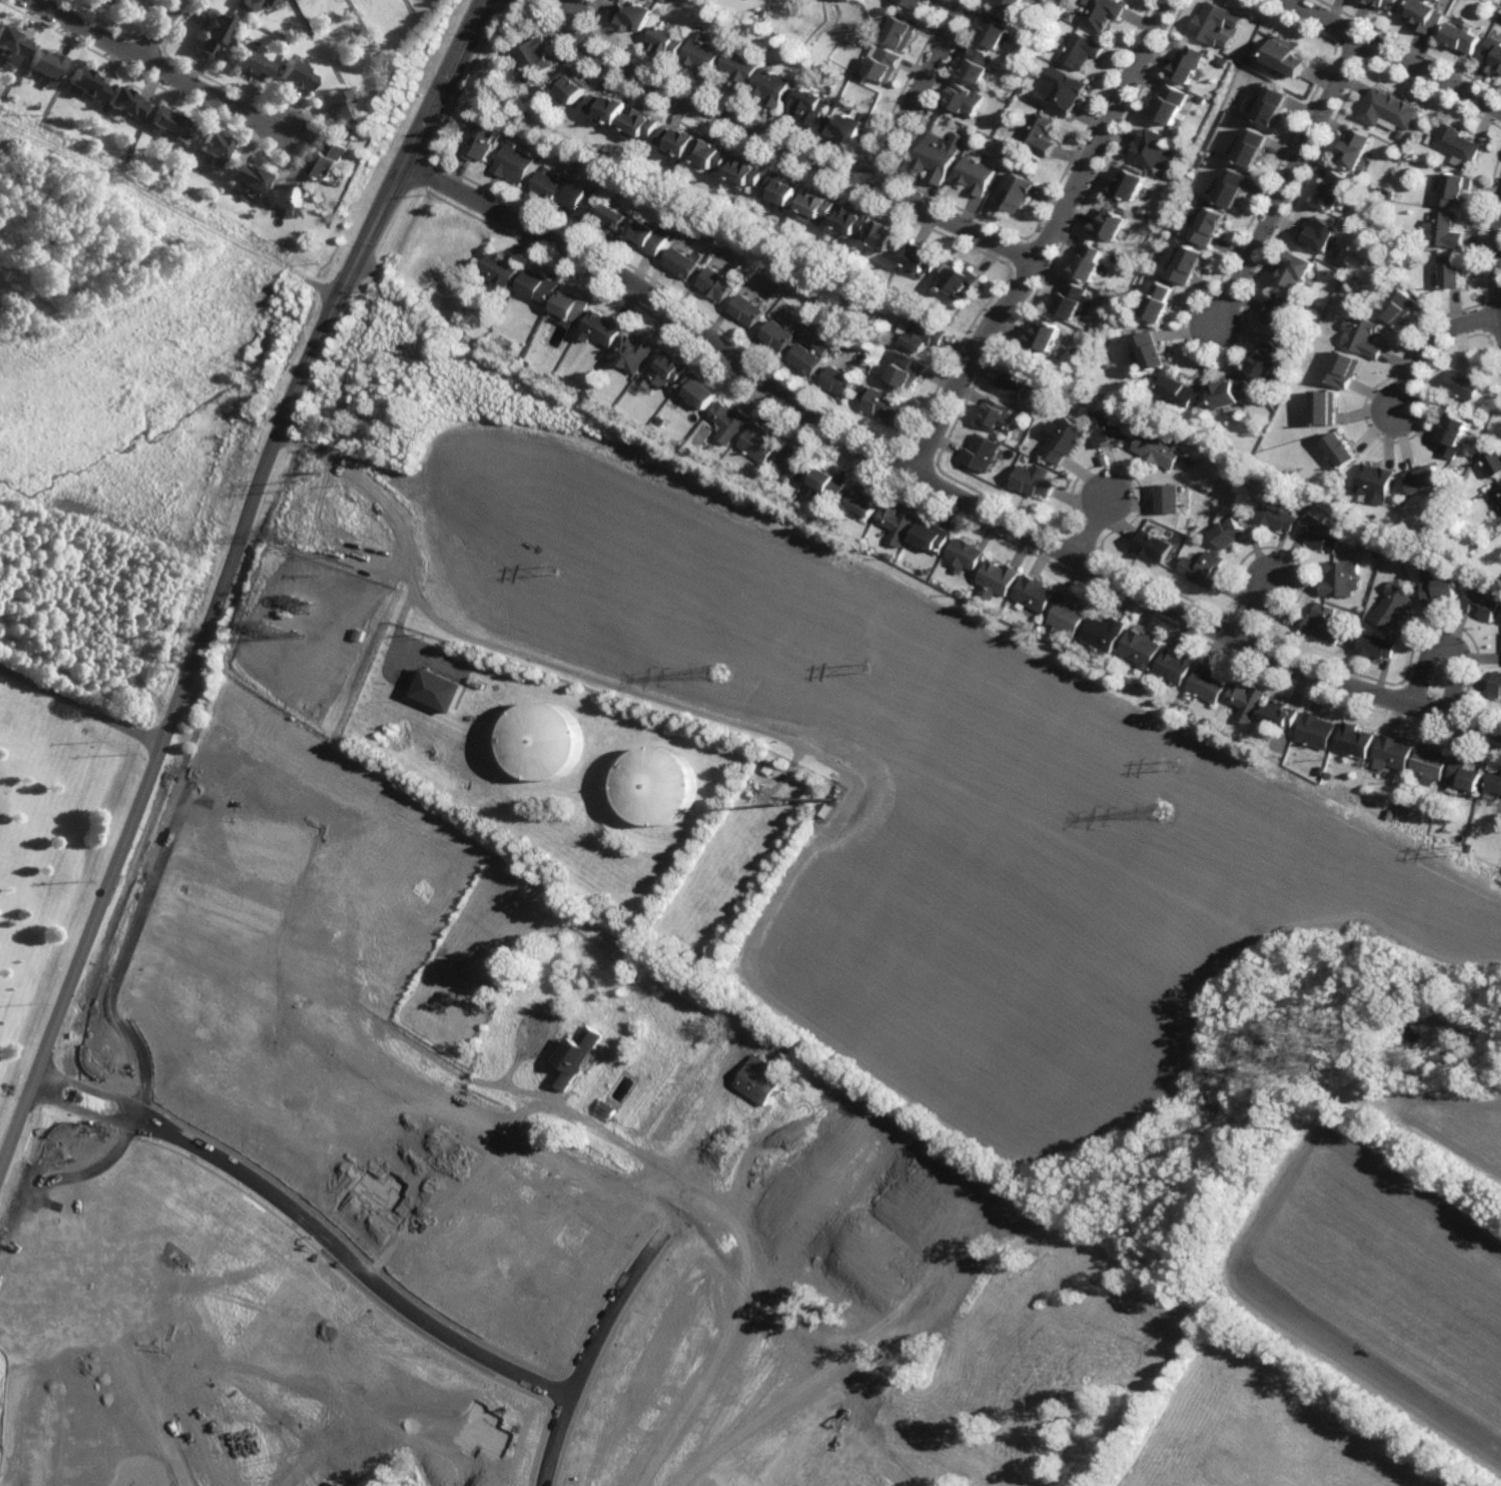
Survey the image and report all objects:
building: (928, 0)
building: (1436, 0)
building: (116, 2)
building: (259, 4)
building: (913, 4)
building: (1384, 4)
building: (1010, 6)
building: (765, 13)
building: (1068, 14)
building: (1101, 14)
building: (636, 16)
building: (1426, 16)
building: (1216, 25)
road: (159, 28)
building: (903, 31)
building: (994, 31)
building: (218, 35)
building: (1464, 38)
building: (667, 42)
building: (11, 46)
building: (1043, 46)
building: (225, 50)
building: (1495, 50)
building: (1082, 51)
building: (704, 55)
road: (1392, 56)
building: (538, 58)
building: (1287, 59)
building: (252, 63)
building: (1224, 63)
building: (46, 65)
building: (885, 65)
building: (976, 65)
building: (1188, 65)
road: (158, 67)
building: (1500, 69)
building: (743, 70)
building: (296, 76)
building: (89, 86)
building: (572, 86)
building: (774, 87)
road: (919, 92)
building: (1061, 92)
building: (790, 99)
building: (1202, 99)
building: (962, 101)
building: (1235, 101)
building: (129, 105)
building: (1168, 106)
building: (812, 107)
building: (342, 108)
building: (1271, 108)
building: (608, 109)
building: (527, 112)
building: (1391, 112)
building: (641, 123)
building: (172, 125)
building: (849, 127)
building: (1041, 134)
building: (478, 142)
building: (679, 142)
road: (419, 145)
road: (789, 145)
building: (1460, 146)
building: (1150, 149)
building: (213, 151)
building: (1251, 151)
building: (1355, 153)
building: (712, 157)
building: (937, 157)
building: (332, 162)
building: (513, 163)
building: (547, 168)
building: (748, 173)
building: (1162, 174)
building: (975, 176)
building: (244, 179)
building: (548, 185)
road: (1289, 186)
building: (1127, 187)
building: (784, 189)
building: (1230, 190)
building: (1458, 191)
building: (1335, 193)
building: (1017, 194)
building: (289, 195)
building: (1392, 196)
building: (583, 202)
building: (819, 203)
building: (1139, 211)
building: (618, 218)
building: (855, 218)
building: (1108, 226)
building: (1209, 226)
building: (1445, 230)
building: (891, 234)
building: (1319, 235)
building: (653, 236)
road: (1047, 240)
building: (1388, 241)
building: (1388, 248)
building: (923, 256)
building: (1088, 260)
building: (1189, 260)
building: (683, 264)
building: (1299, 267)
building: (502, 268)
building: (1452, 270)
building: (1435, 278)
building: (964, 279)
building: (718, 282)
building: (540, 285)
building: (1072, 299)
building: (1158, 299)
building: (1400, 305)
building: (572, 307)
building: (750, 309)
building: (1281, 309)
building: (604, 327)
building: (780, 334)
building: (928, 334)
building: (1044, 335)
building: (1364, 335)
building: (826, 337)
building: (504, 343)
road: (1430, 345)
building: (823, 348)
building: (1150, 349)
building: (635, 351)
building: (809, 358)
building: (518, 359)
building: (1269, 360)
building: (670, 368)
building: (1346, 368)
building: (913, 369)
building: (876, 370)
building: (1077, 376)
building: (842, 379)
building: (1016, 381)
building: (1069, 384)
building: (1463, 385)
building: (866, 389)
building: (1180, 389)
building: (700, 390)
building: (1088, 391)
building: (1231, 391)
building: (590, 395)
building: (888, 405)
building: (1326, 405)
building: (1039, 408)
building: (1000, 416)
building: (662, 420)
building: (728, 421)
building: (1108, 429)
building: (1453, 433)
building: (1062, 440)
building: (758, 442)
building: (1156, 449)
building: (1342, 450)
building: (983, 452)
building: (1187, 459)
building: (1494, 461)
building: (792, 463)
building: (1456, 471)
building: (1226, 476)
building: (1424, 478)
building: (1033, 483)
building: (1375, 483)
power tower: (303, 484)
building: (823, 484)
road: (936, 487)
building: (1203, 488)
building: (1497, 496)
building: (1166, 498)
building: (862, 501)
building: (1339, 502)
building: (1275, 516)
building: (897, 523)
road: (1090, 528)
power tower: (287, 533)
building: (1224, 533)
building: (1317, 533)
building: (932, 537)
building: (1151, 546)
building: (1373, 553)
building: (964, 555)
power tower: (559, 569)
building: (1200, 569)
building: (999, 577)
building: (1336, 579)
building: (1396, 579)
building: (1434, 588)
building: (1033, 594)
building: (1479, 604)
building: (1389, 606)
road: (1251, 613)
building: (1064, 614)
building: (1319, 623)
building: (1101, 633)
power substation: (319, 636)
building: (1344, 640)
road: (1446, 645)
building: (1372, 646)
building: (1136, 648)
road: (518, 654)
power tower: (867, 665)
building: (1170, 666)
power tower: (718, 672)
building: (1204, 683)
building: (1494, 685)
building: (439, 690)
building: (1243, 701)
road: (80, 706)
building: (1277, 714)
road: (167, 726)
building: (1313, 730)
building: (546, 738)
storage tank: (546, 738)
building: (1352, 741)
building: (1390, 753)
power tower: (1173, 761)
building: (1427, 765)
building: (1463, 775)
building: (1494, 782)
building: (659, 787)
storage tank: (659, 787)
power tower: (1161, 812)
building: (1388, 812)
building: (1468, 846)
power tower: (1456, 852)
road: (116, 1022)
building: (575, 1057)
building: (759, 1080)
road: (90, 1089)
road: (82, 1109)
building: (604, 1110)
building: (681, 1195)
road: (350, 1260)
road: (588, 1352)

